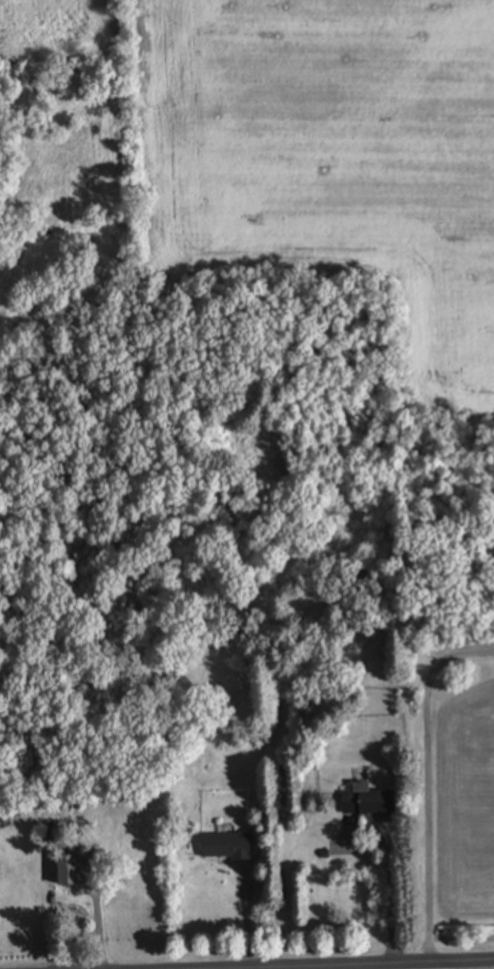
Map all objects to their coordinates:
building: (313, 577)
road: (428, 784)
building: (370, 802)
building: (227, 847)
building: (69, 871)
road: (391, 887)
road: (310, 964)

